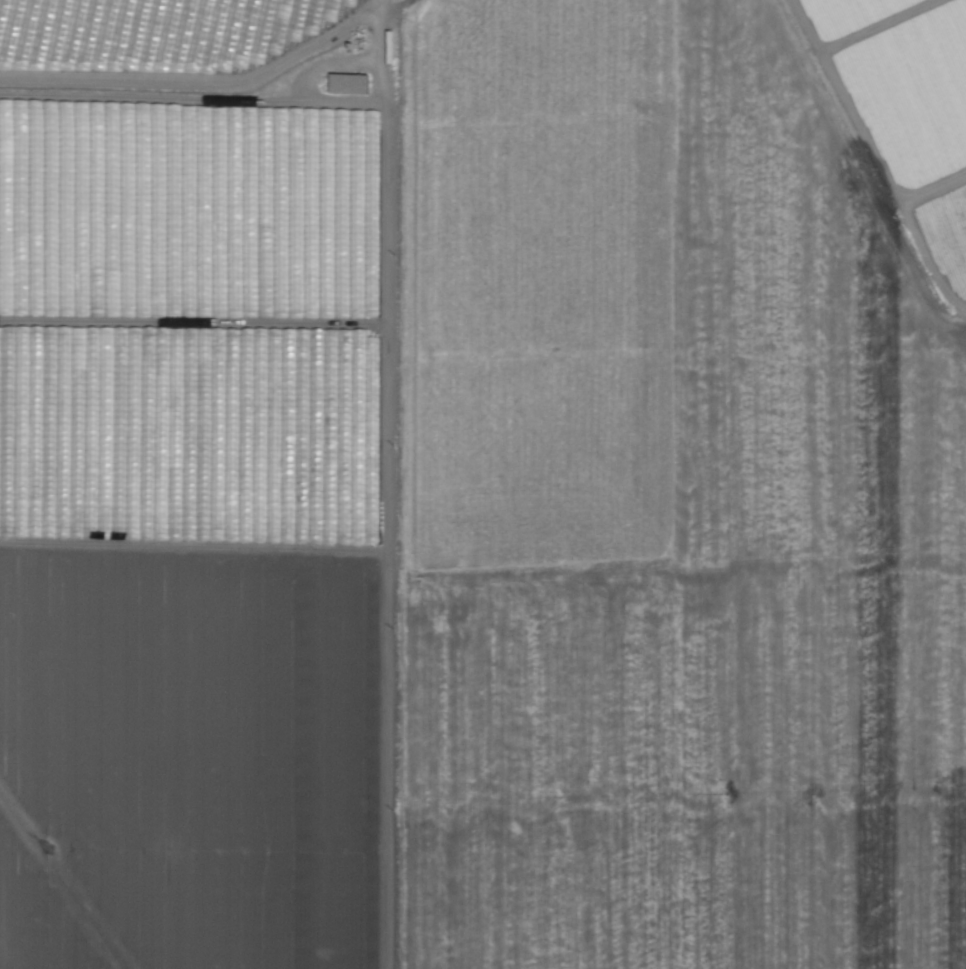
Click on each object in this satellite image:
building: (347, 83)
crop: (907, 111)
crop: (469, 496)
road: (396, 522)

